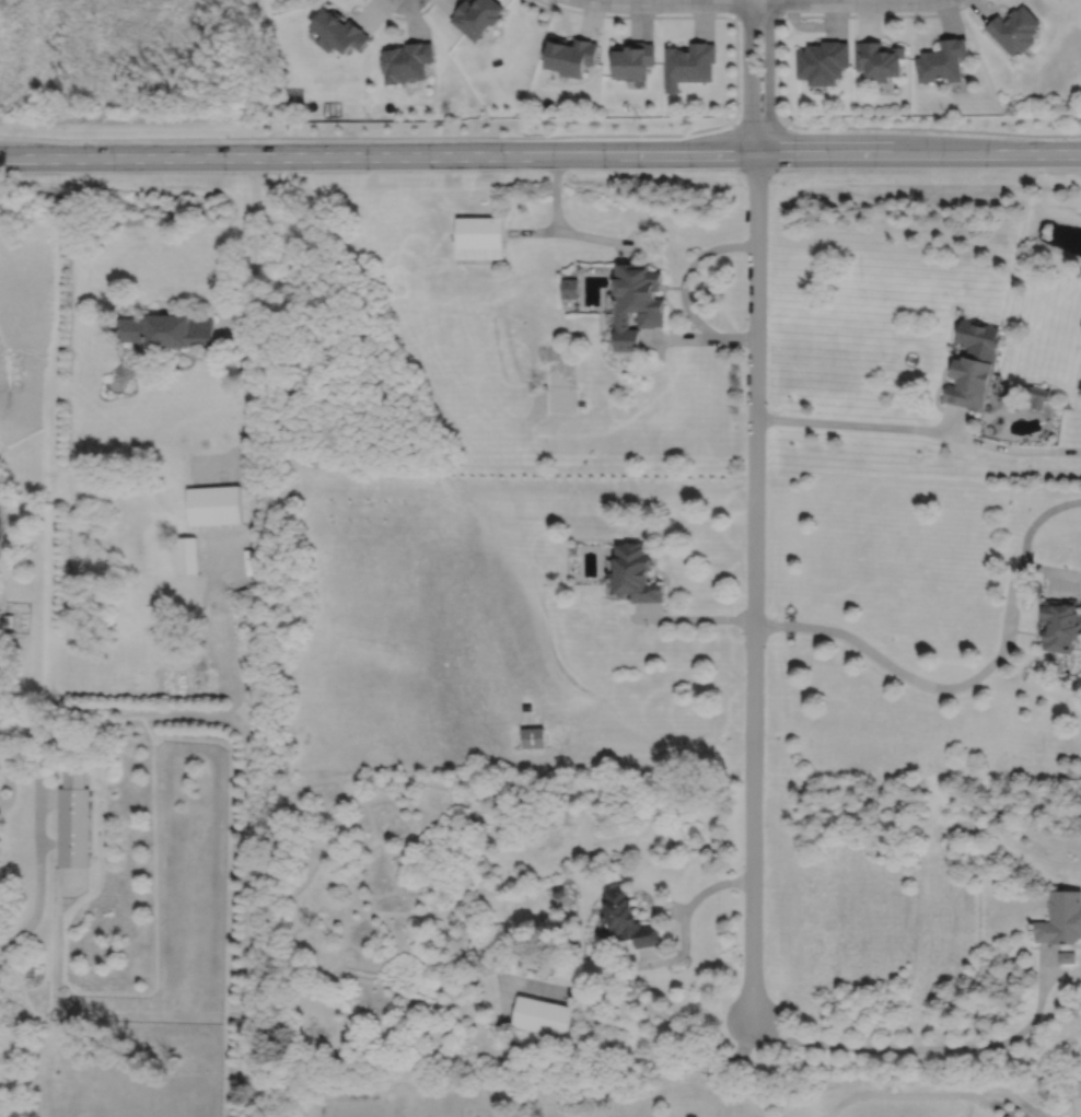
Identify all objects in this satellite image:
street lamp: (555, 1)
road: (765, 2)
street lamp: (957, 4)
road: (777, 8)
road: (736, 11)
street lamp: (658, 12)
building: (476, 15)
road: (822, 15)
road: (403, 16)
road: (686, 16)
road: (758, 16)
building: (1014, 27)
building: (340, 30)
building: (570, 55)
building: (879, 58)
building: (632, 59)
building: (941, 59)
building: (407, 60)
building: (823, 61)
building: (689, 63)
road: (757, 77)
street lamp: (740, 109)
road: (543, 136)
road: (540, 155)
road: (556, 194)
road: (533, 233)
building: (479, 237)
road: (601, 238)
road: (252, 243)
road: (686, 272)
building: (570, 288)
building: (637, 303)
building: (167, 329)
road: (233, 330)
road: (686, 338)
road: (739, 338)
building: (974, 364)
road: (246, 392)
building: (1038, 397)
building: (987, 408)
road: (954, 420)
road: (918, 428)
road: (223, 459)
building: (214, 504)
road: (255, 516)
road: (1036, 521)
road: (210, 540)
building: (187, 554)
building: (635, 570)
road: (1055, 571)
road: (753, 586)
road: (206, 595)
building: (9, 618)
road: (690, 618)
building: (1060, 621)
road: (921, 680)
building: (532, 736)
building: (73, 821)
road: (38, 870)
building: (557, 891)
building: (1061, 918)
building: (626, 919)
road: (685, 919)
building: (1067, 957)
road: (636, 1003)
building: (542, 1016)
road: (932, 1047)
road: (762, 1069)
road: (932, 1094)
building: (1078, 1098)
building: (469, 1112)

